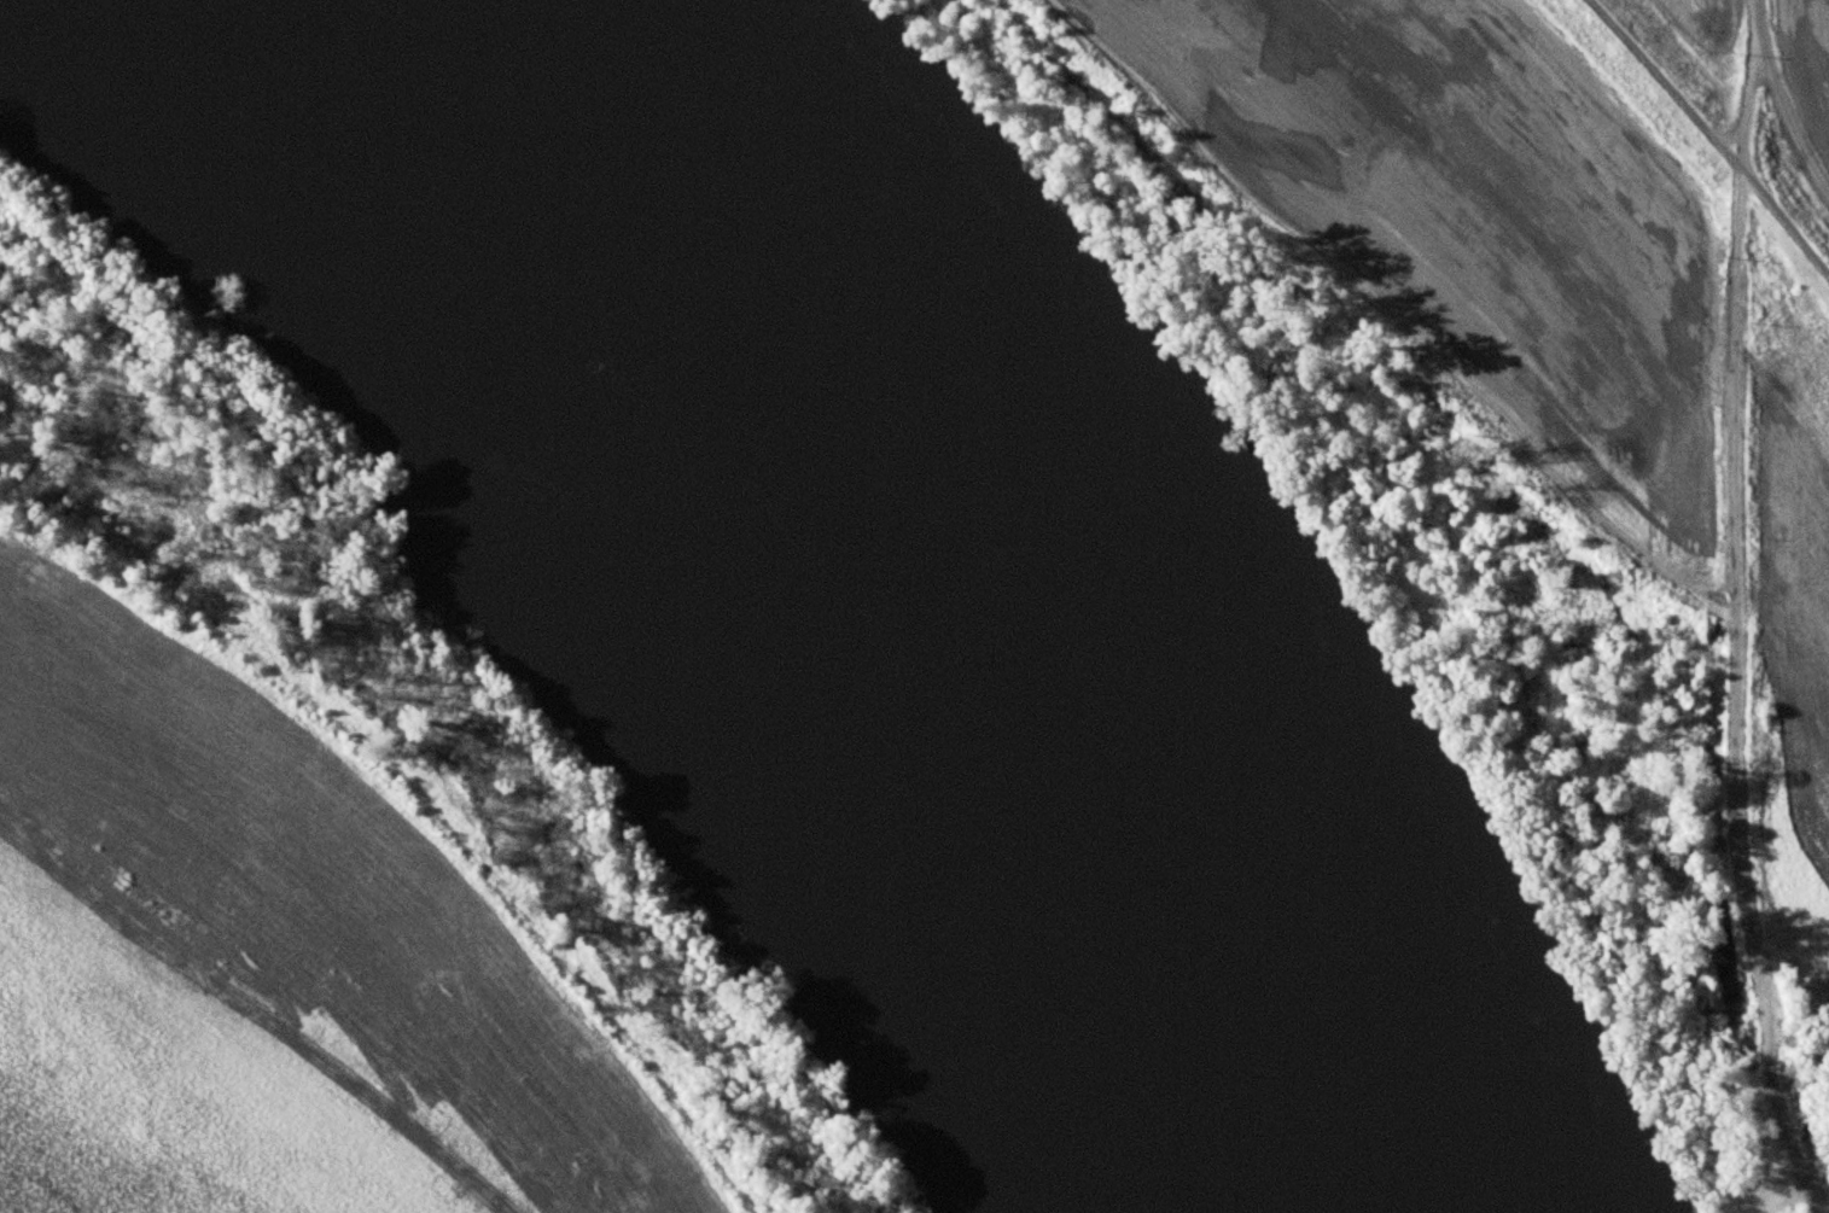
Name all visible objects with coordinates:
road: (1666, 84)
road: (1747, 91)
road: (1782, 99)
road: (1784, 223)
river: (927, 595)

